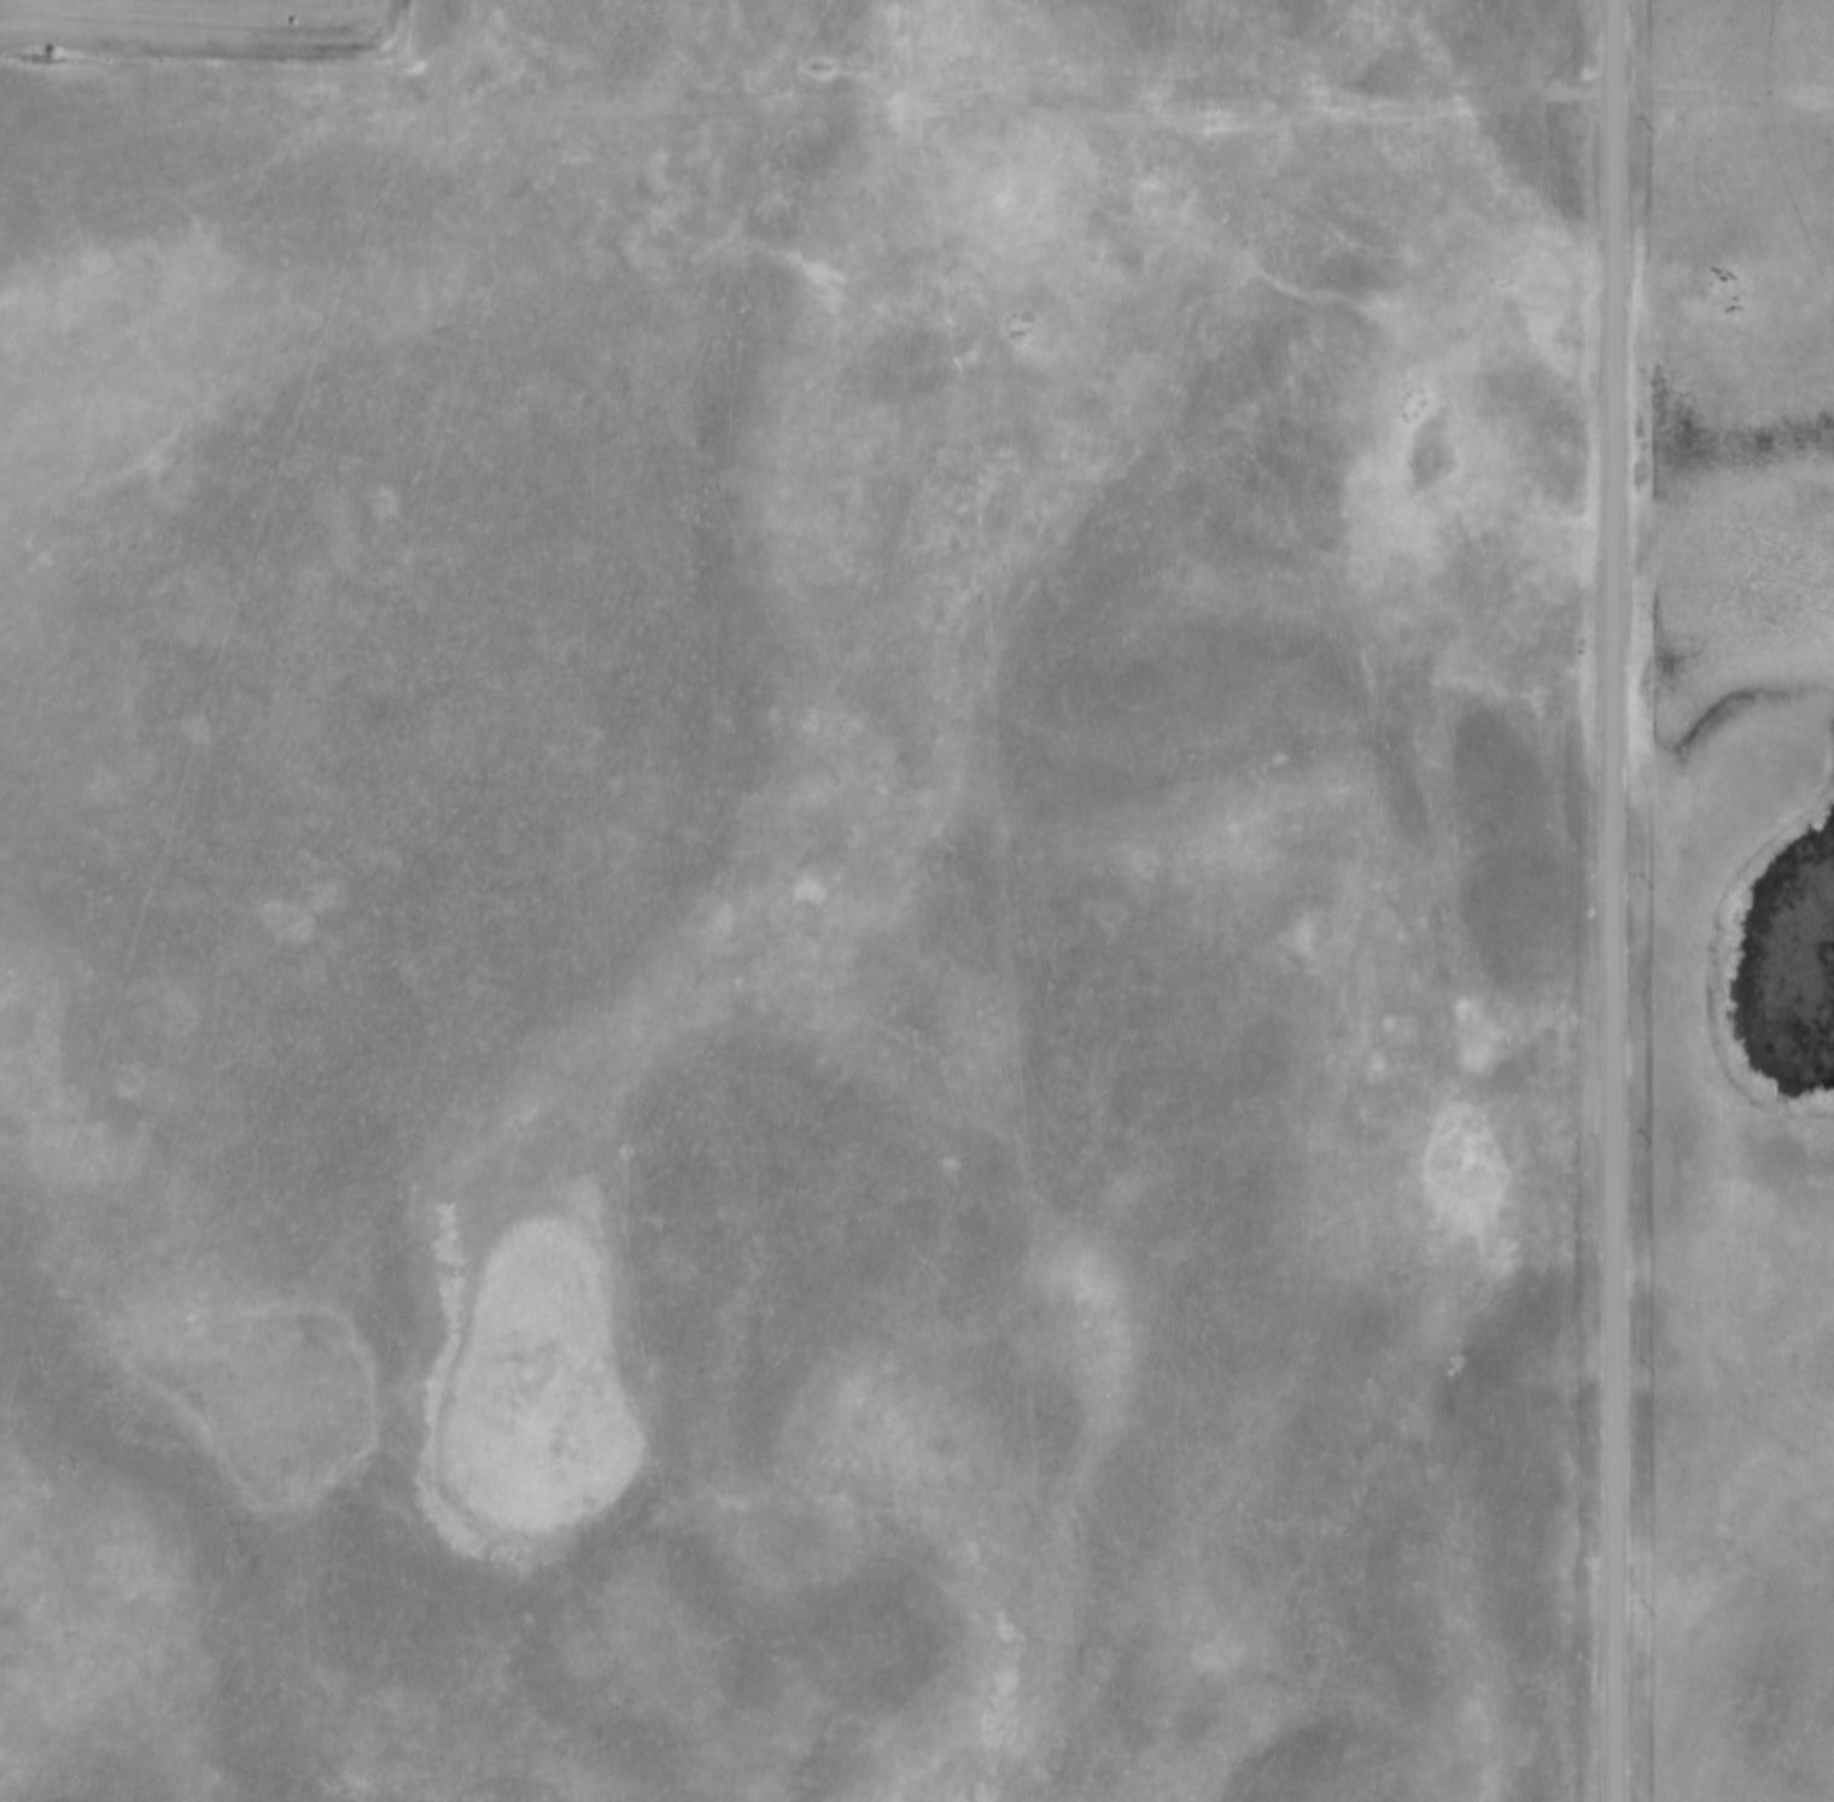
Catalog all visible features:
road: (1163, 103)
road: (1613, 901)

